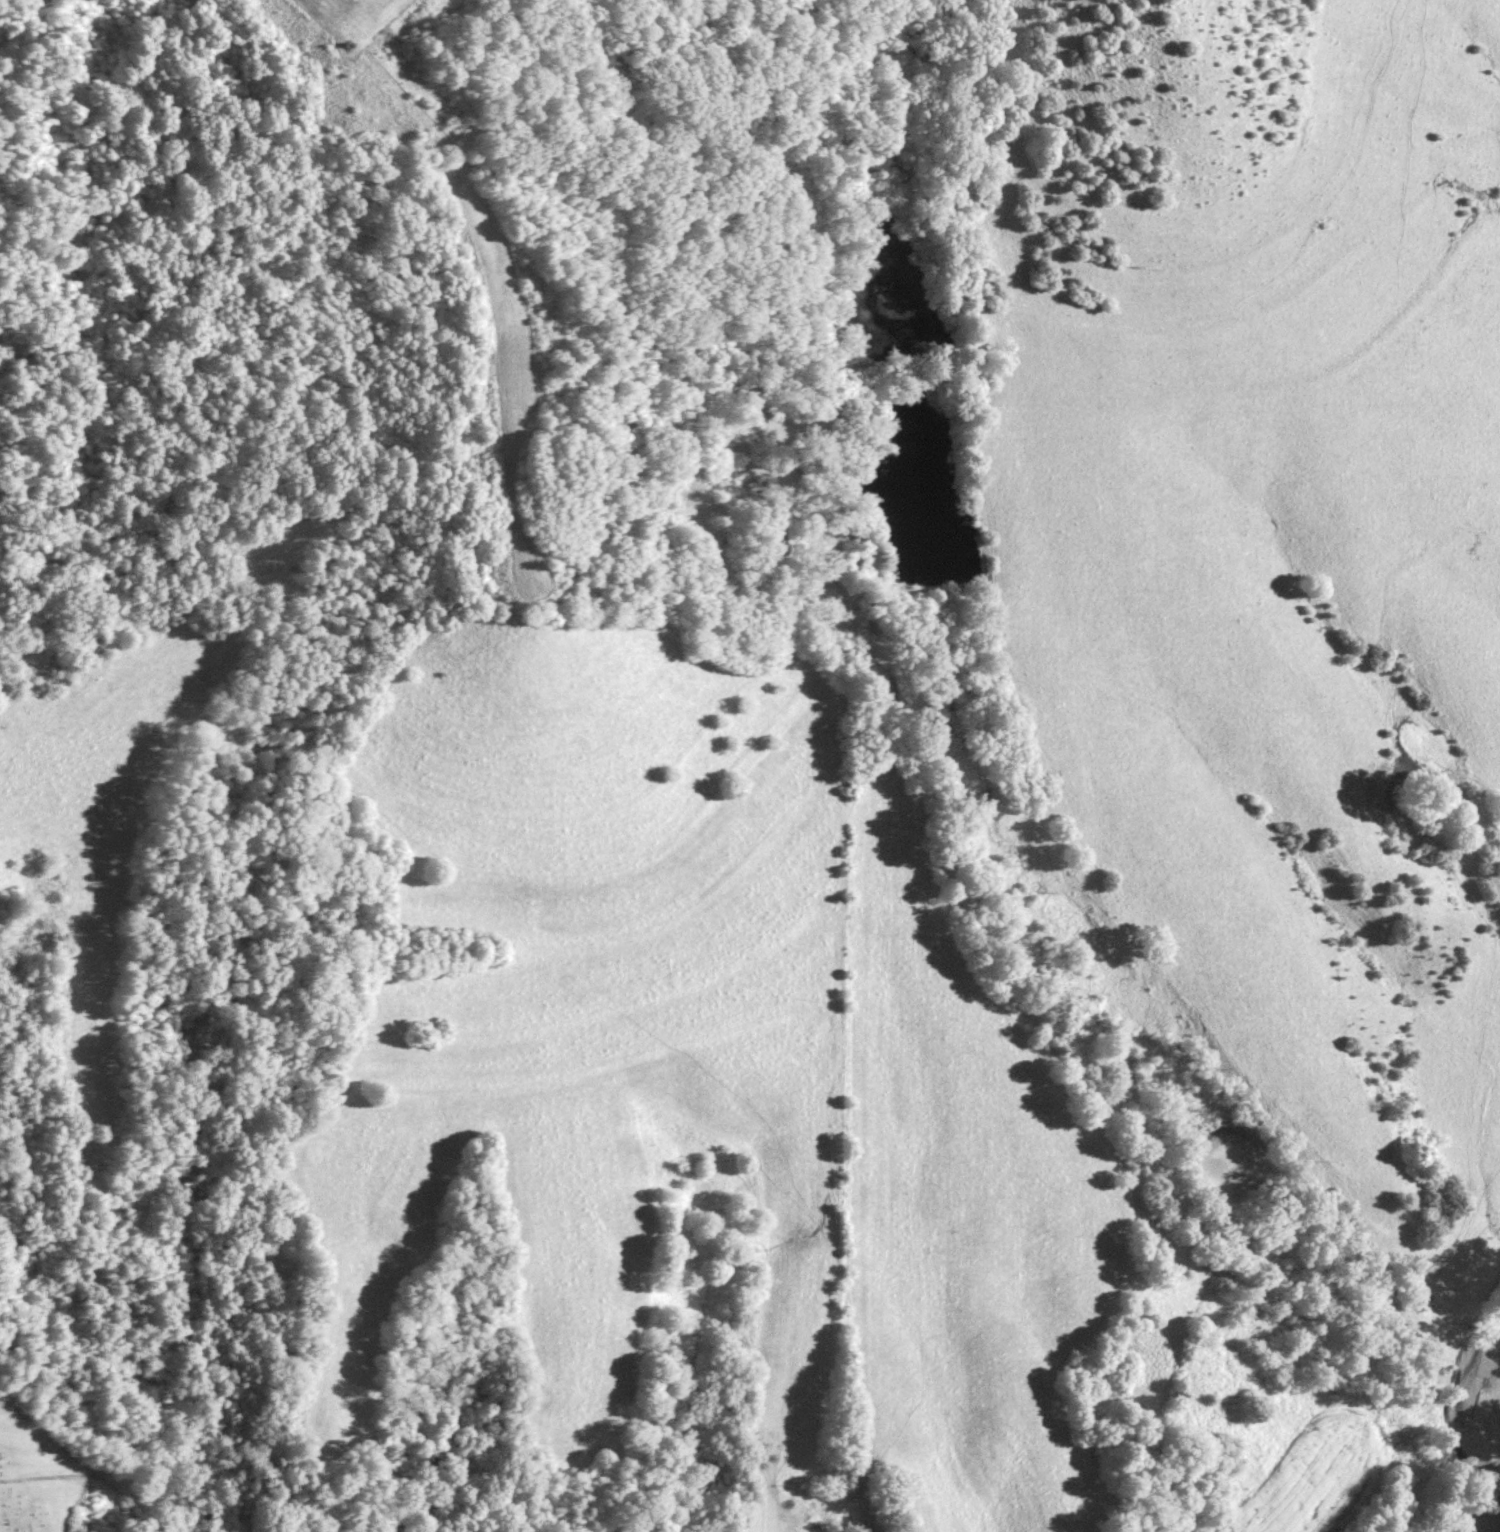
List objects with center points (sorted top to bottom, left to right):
building: (781, 536)
building: (852, 554)
road: (79, 1458)
park: (39, 1477)

